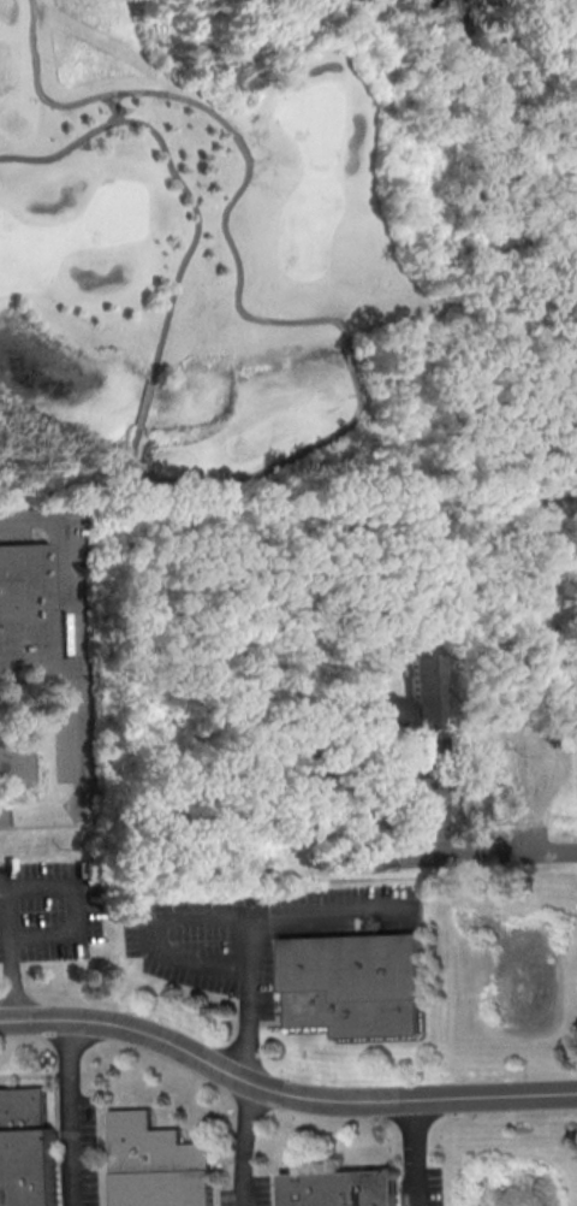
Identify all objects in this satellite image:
road: (573, 10)
road: (111, 110)
road: (232, 131)
road: (171, 179)
park: (285, 246)
road: (351, 353)
road: (143, 403)
road: (252, 475)
building: (25, 614)
road: (79, 668)
road: (453, 699)
building: (409, 700)
road: (481, 711)
road: (10, 759)
parking lot: (549, 763)
road: (543, 792)
road: (428, 797)
parking lot: (424, 829)
road: (438, 857)
road: (73, 885)
parking lot: (48, 910)
road: (216, 915)
parking lot: (255, 929)
road: (17, 977)
building: (357, 985)
road: (70, 1057)
road: (246, 1059)
road: (281, 1090)
building: (26, 1148)
road: (73, 1151)
parking lot: (81, 1151)
road: (415, 1152)
building: (157, 1163)
parking lot: (422, 1186)
building: (341, 1188)
parking lot: (249, 1190)

